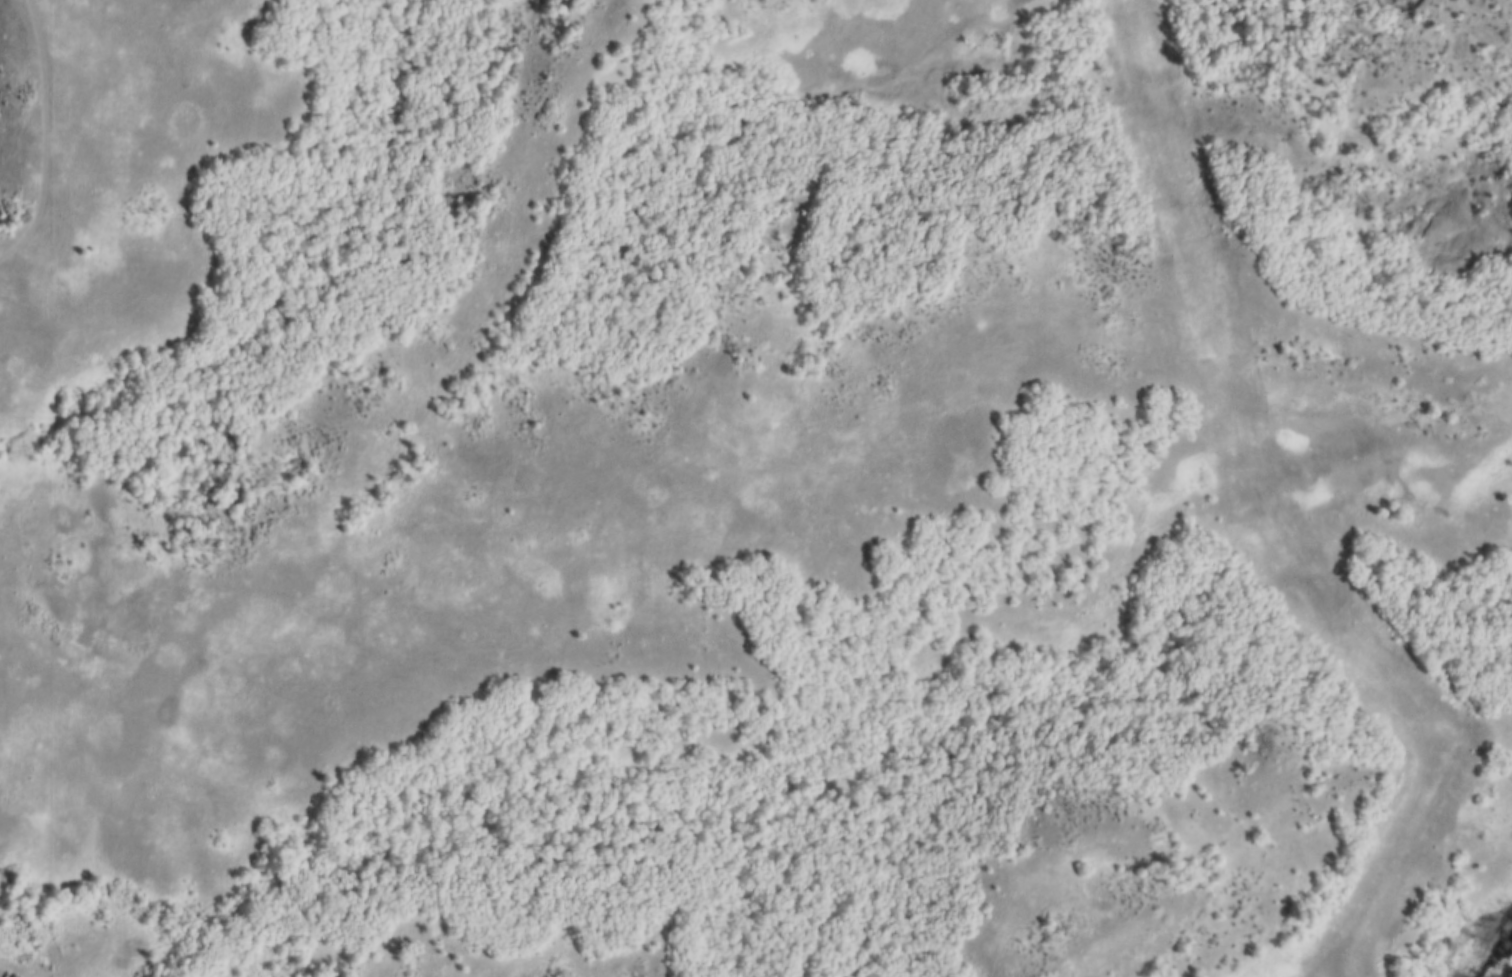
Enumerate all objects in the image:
road: (49, 137)

